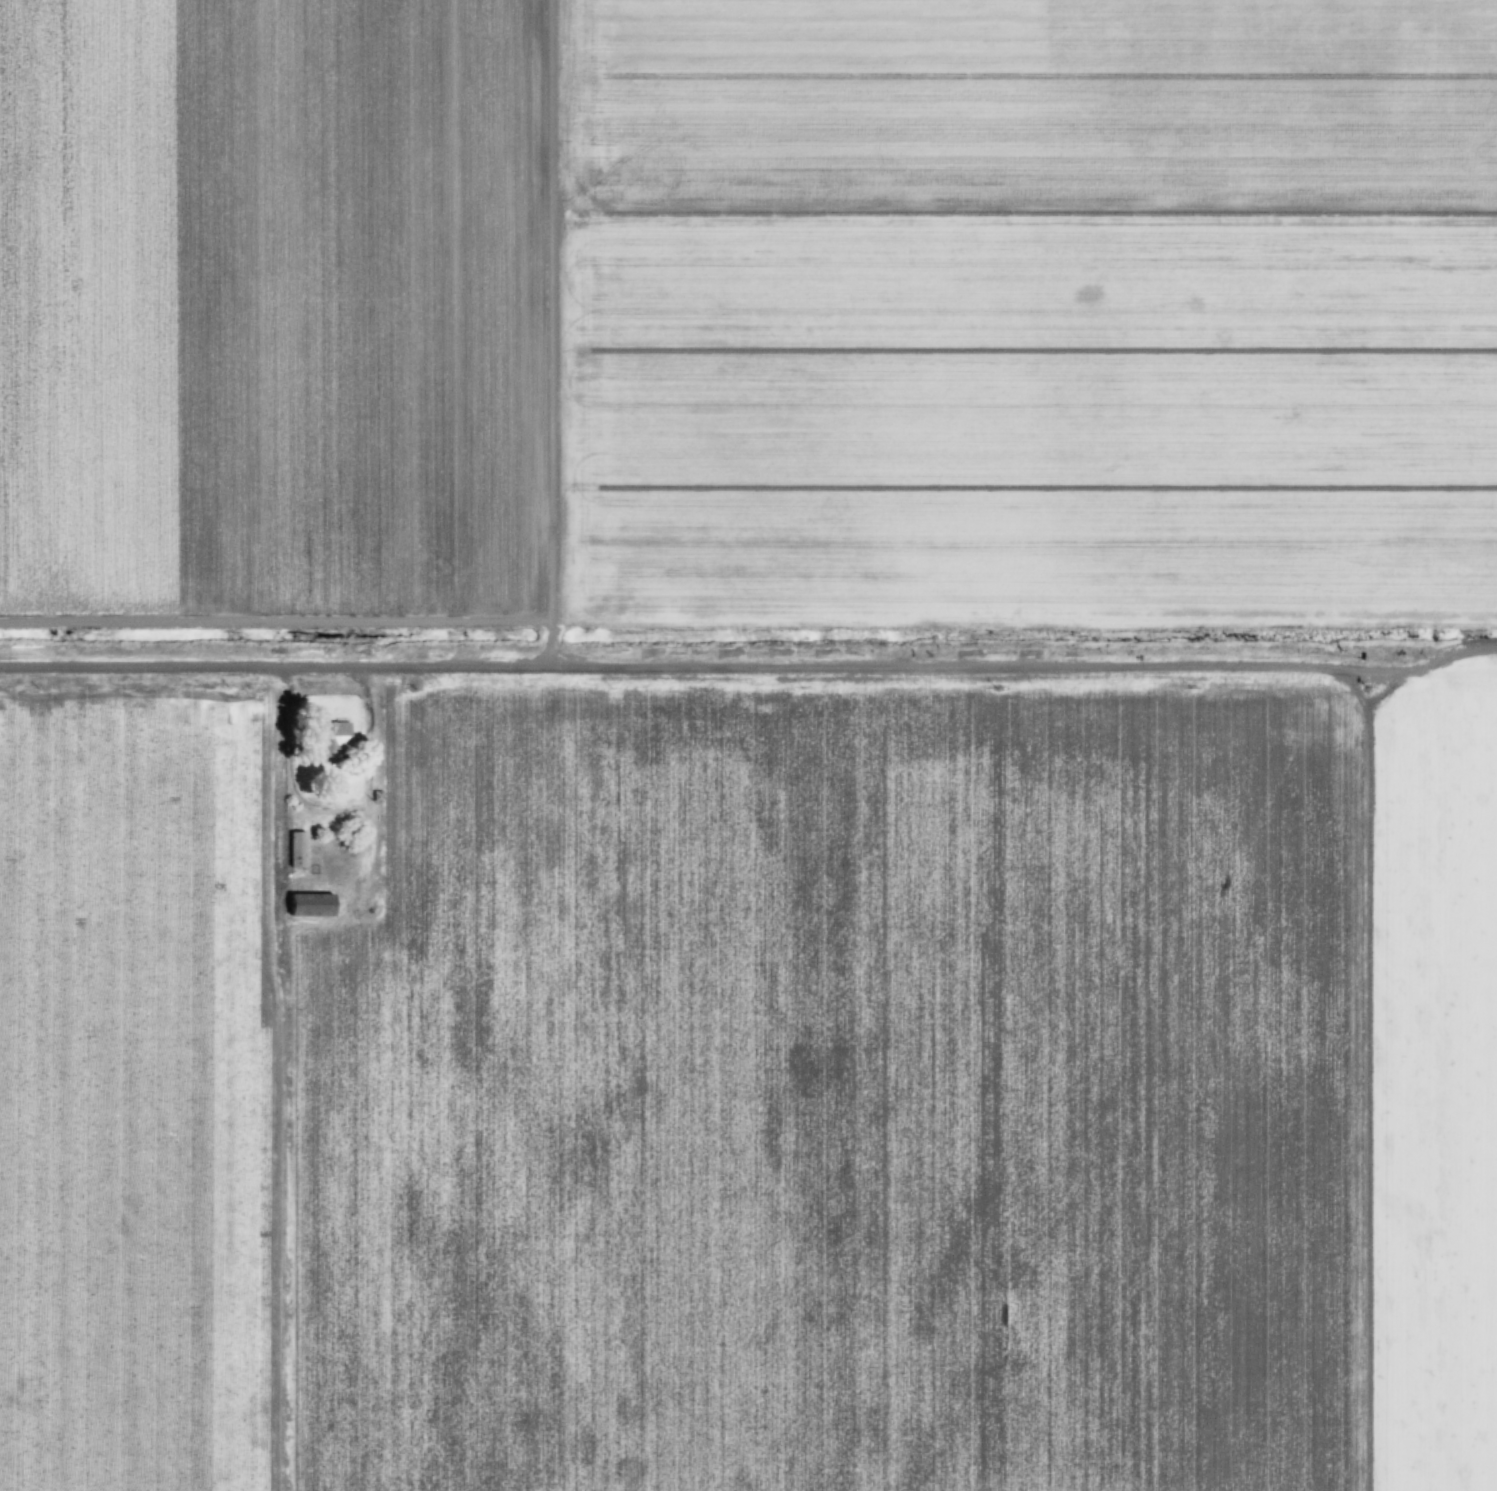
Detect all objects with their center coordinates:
crop: (279, 304)
crop: (1028, 310)
road: (278, 660)
building: (336, 741)
building: (379, 795)
building: (299, 849)
building: (312, 904)
crop: (1437, 1082)
crop: (133, 1083)
crop: (844, 1092)

